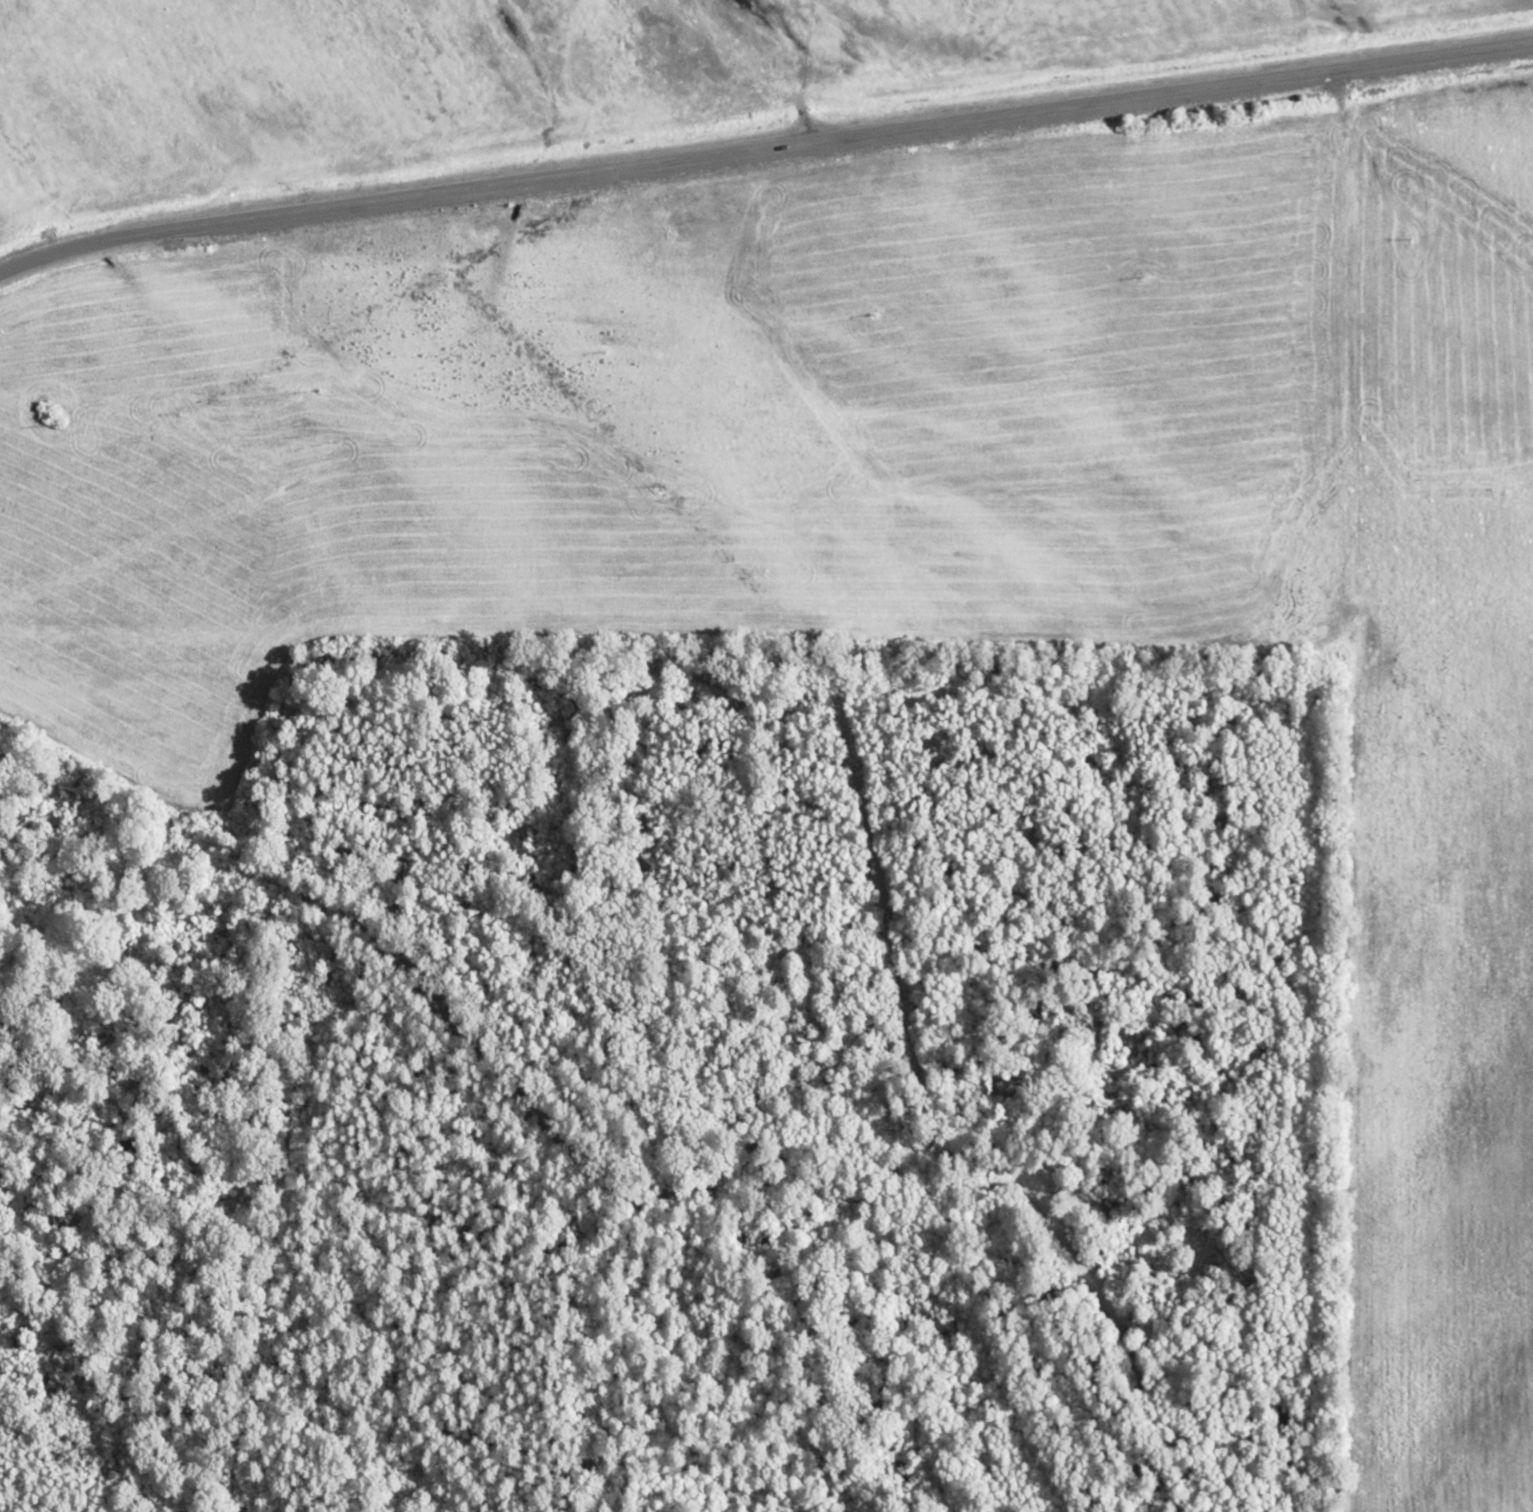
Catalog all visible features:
road: (763, 142)

